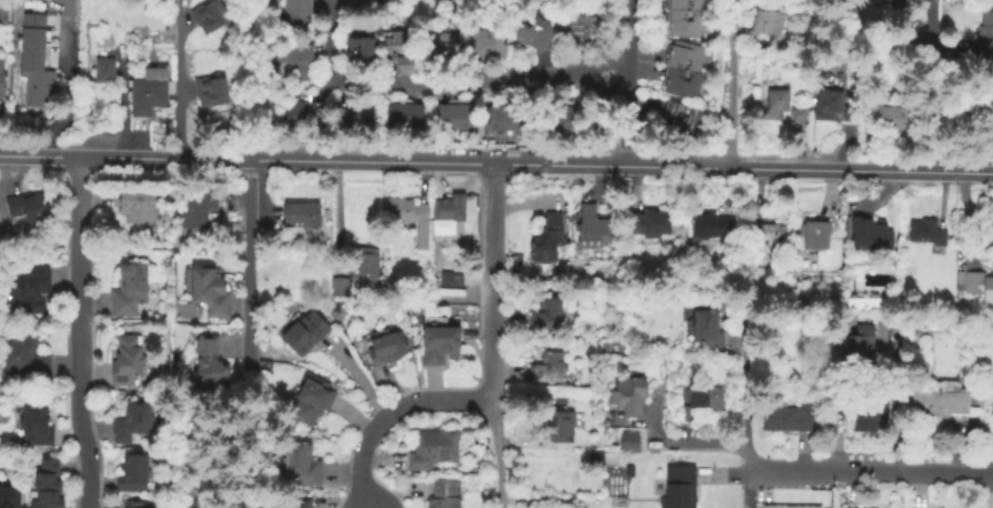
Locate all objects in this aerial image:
building: (448, 3)
building: (209, 15)
building: (297, 16)
building: (686, 18)
building: (770, 23)
building: (586, 32)
building: (537, 34)
building: (987, 35)
building: (489, 47)
building: (446, 48)
building: (364, 50)
building: (401, 52)
building: (33, 61)
building: (300, 63)
building: (686, 69)
building: (107, 71)
building: (2, 80)
road: (630, 83)
road: (433, 84)
road: (733, 84)
road: (929, 86)
road: (178, 88)
building: (211, 90)
building: (151, 91)
building: (778, 106)
building: (984, 106)
building: (832, 107)
building: (355, 114)
building: (307, 115)
building: (855, 115)
building: (891, 116)
building: (406, 117)
building: (503, 117)
building: (801, 117)
building: (455, 118)
building: (560, 118)
building: (684, 118)
building: (990, 136)
road: (496, 165)
building: (30, 207)
building: (140, 208)
building: (199, 209)
building: (453, 209)
building: (408, 211)
building: (304, 215)
building: (992, 218)
road: (81, 223)
building: (653, 225)
building: (711, 227)
building: (594, 229)
building: (927, 232)
building: (819, 236)
building: (873, 237)
building: (549, 241)
building: (770, 242)
building: (369, 267)
road: (251, 268)
building: (449, 278)
road: (494, 282)
building: (981, 284)
building: (342, 288)
building: (31, 290)
building: (132, 292)
building: (211, 293)
building: (872, 304)
building: (550, 314)
building: (855, 321)
building: (711, 331)
building: (308, 335)
building: (442, 342)
building: (861, 346)
building: (389, 351)
building: (26, 358)
building: (130, 362)
building: (211, 366)
building: (551, 369)
road: (747, 389)
building: (631, 397)
road: (79, 399)
road: (423, 400)
building: (313, 401)
building: (943, 401)
building: (705, 402)
building: (992, 403)
building: (863, 410)
building: (792, 417)
building: (136, 425)
building: (564, 426)
building: (37, 427)
building: (633, 441)
road: (683, 443)
building: (435, 450)
road: (499, 453)
building: (303, 465)
road: (870, 471)
road: (360, 473)
building: (140, 474)
building: (49, 486)
building: (682, 488)
building: (448, 495)
building: (10, 496)
building: (137, 505)
building: (304, 505)
building: (788, 506)

